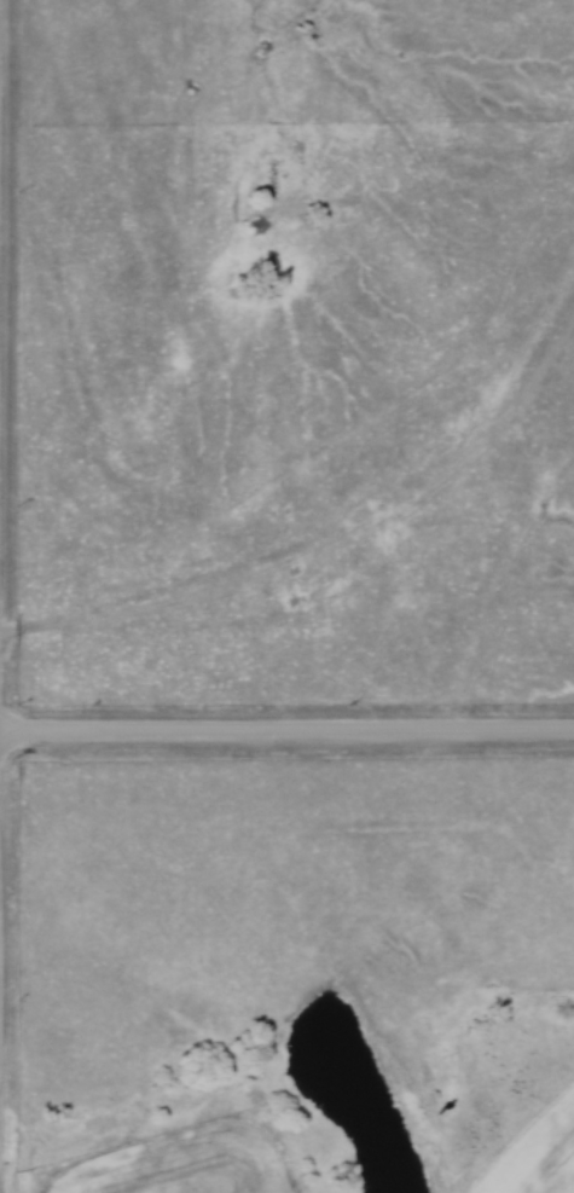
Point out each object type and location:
road: (286, 734)

